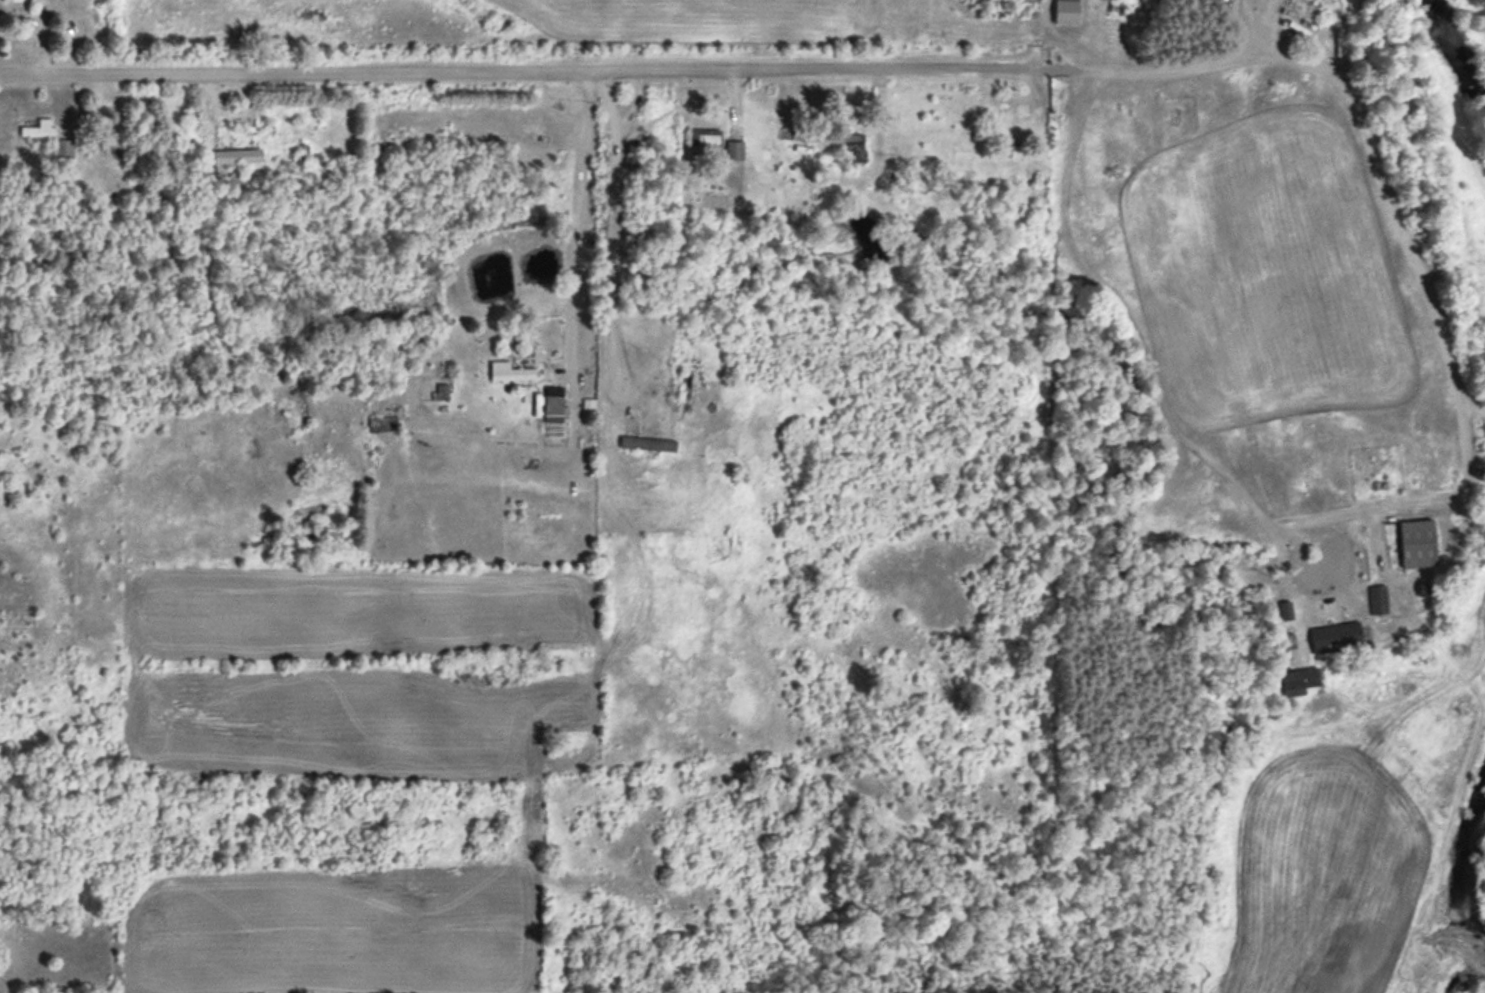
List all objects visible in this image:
river: (1482, 2)
building: (1061, 11)
road: (794, 59)
building: (36, 127)
building: (701, 135)
building: (60, 147)
building: (731, 148)
building: (850, 148)
building: (233, 154)
road: (579, 353)
road: (743, 354)
building: (506, 371)
building: (682, 387)
building: (551, 402)
building: (381, 422)
building: (645, 442)
building: (1412, 541)
building: (1375, 598)
building: (1329, 636)
river: (1480, 970)

